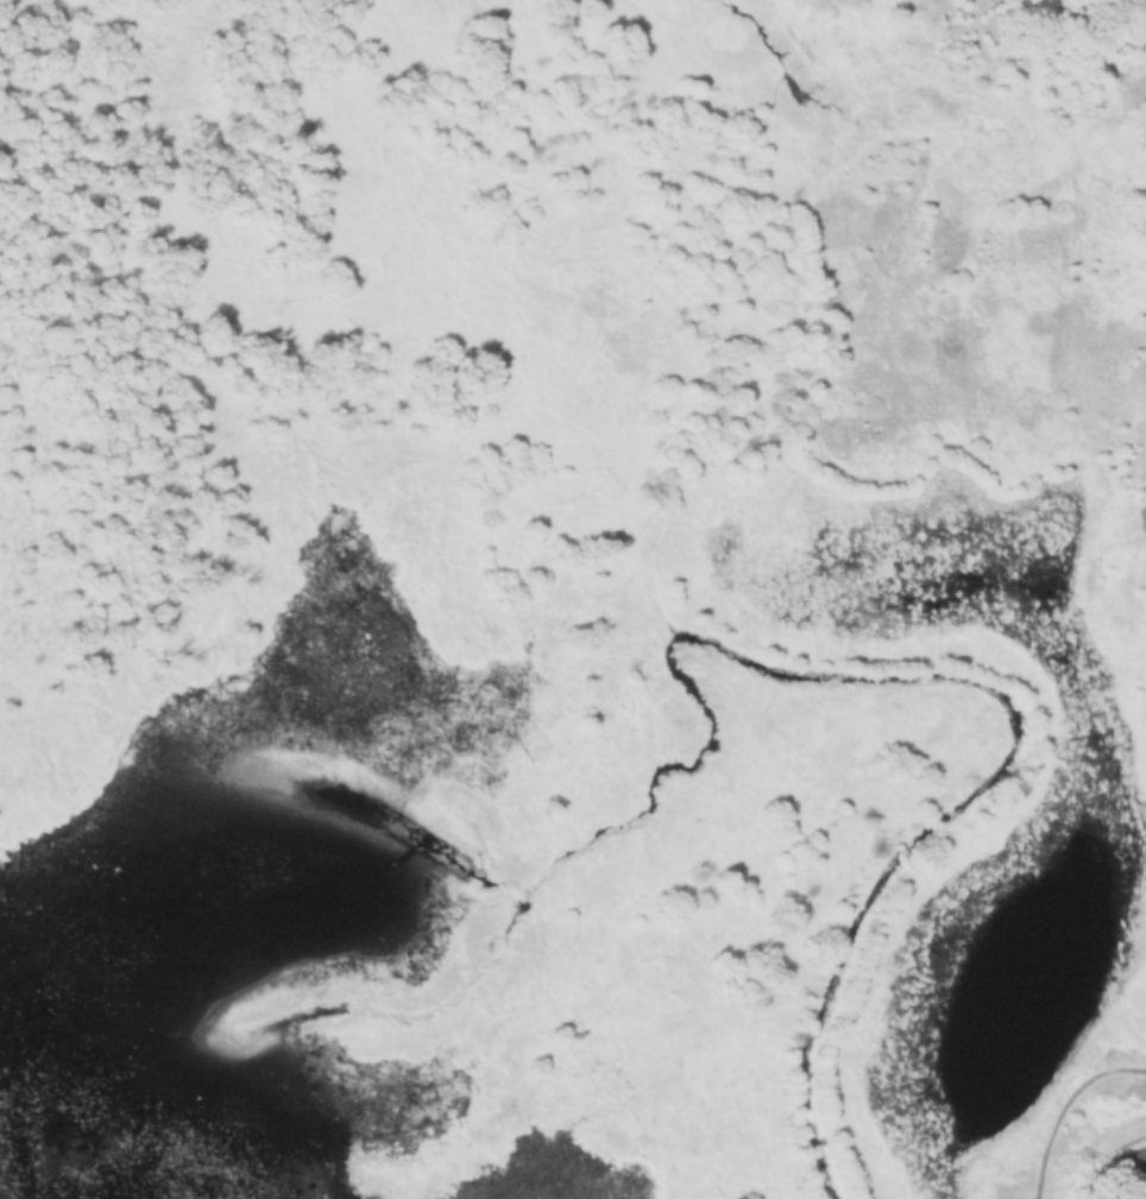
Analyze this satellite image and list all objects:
road: (1064, 50)
road: (1064, 1104)
building: (1136, 1161)

